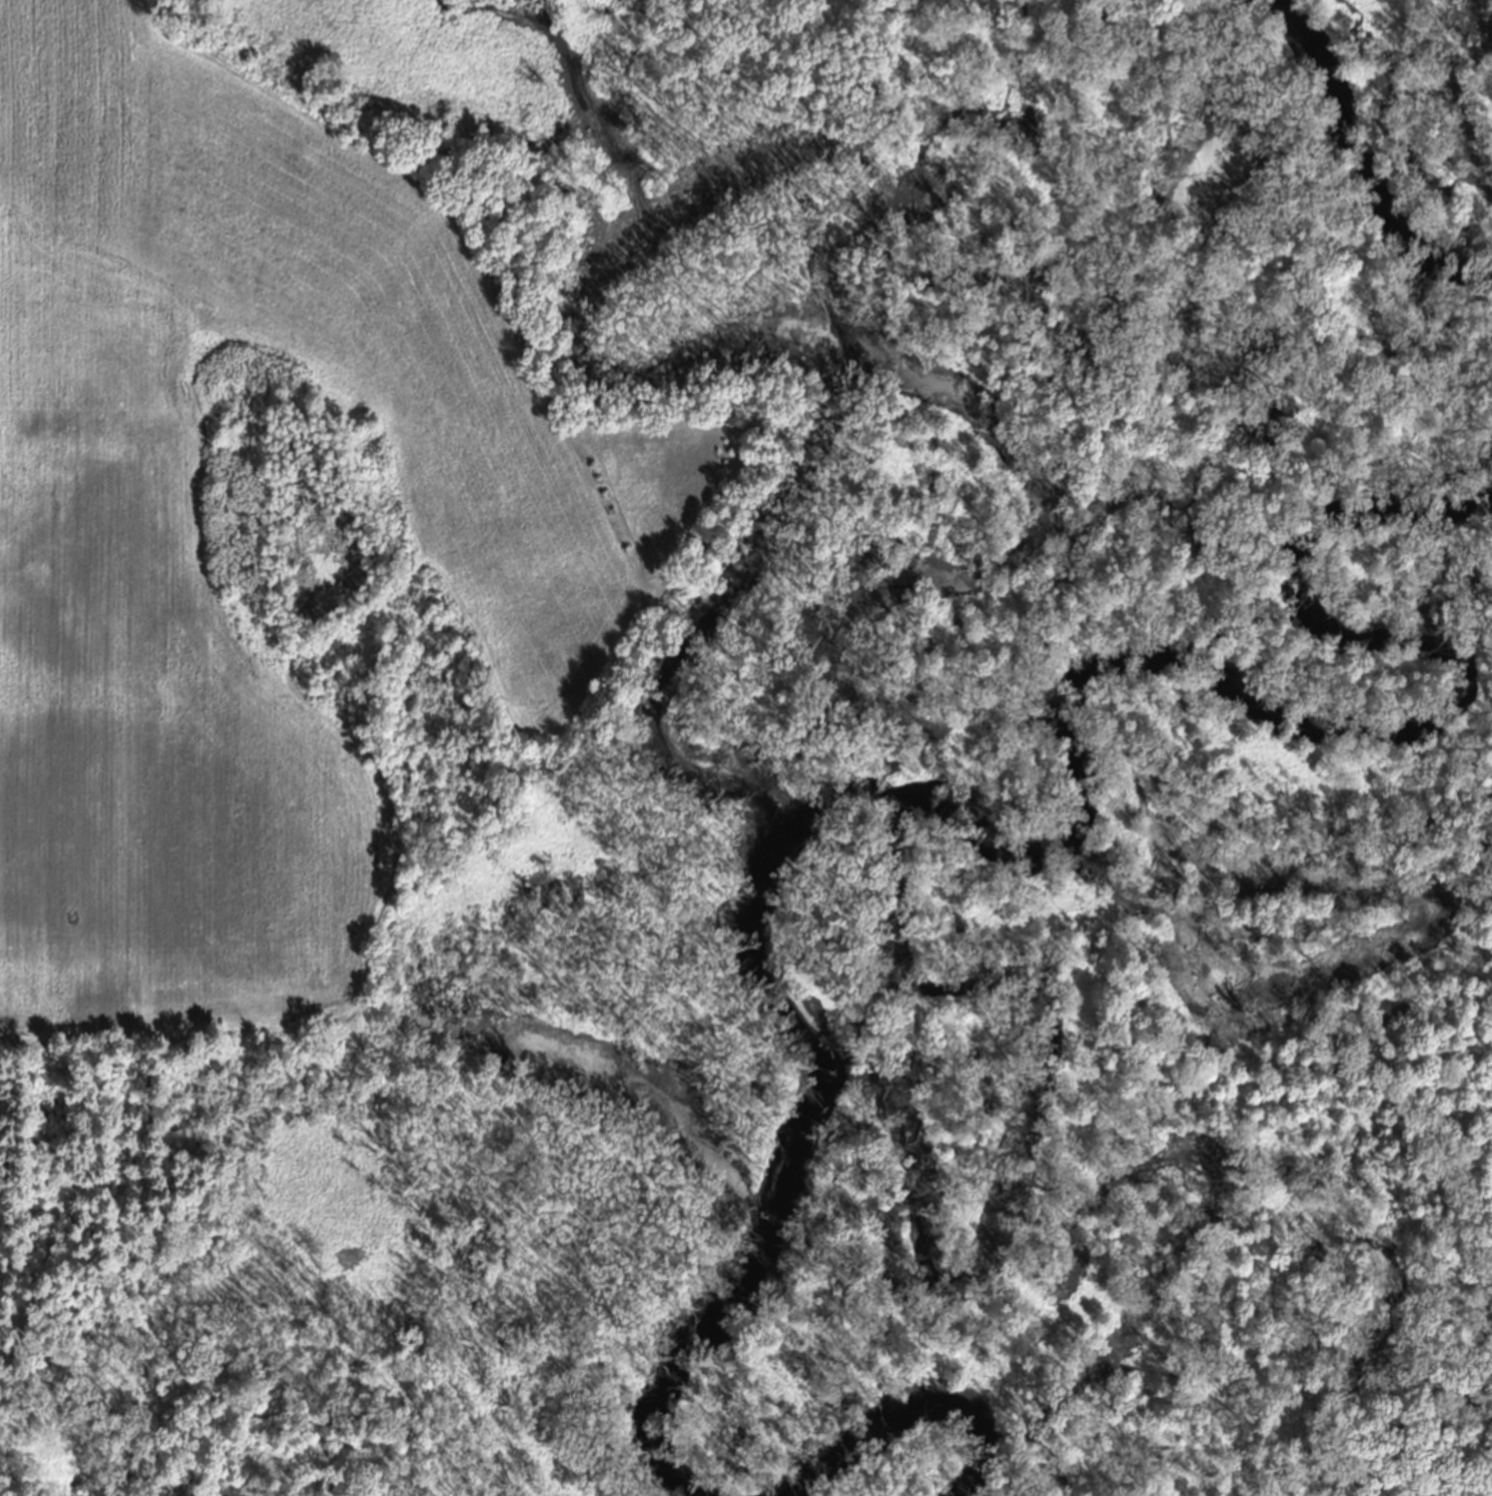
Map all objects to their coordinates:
river: (1397, 144)
river: (1026, 1055)

